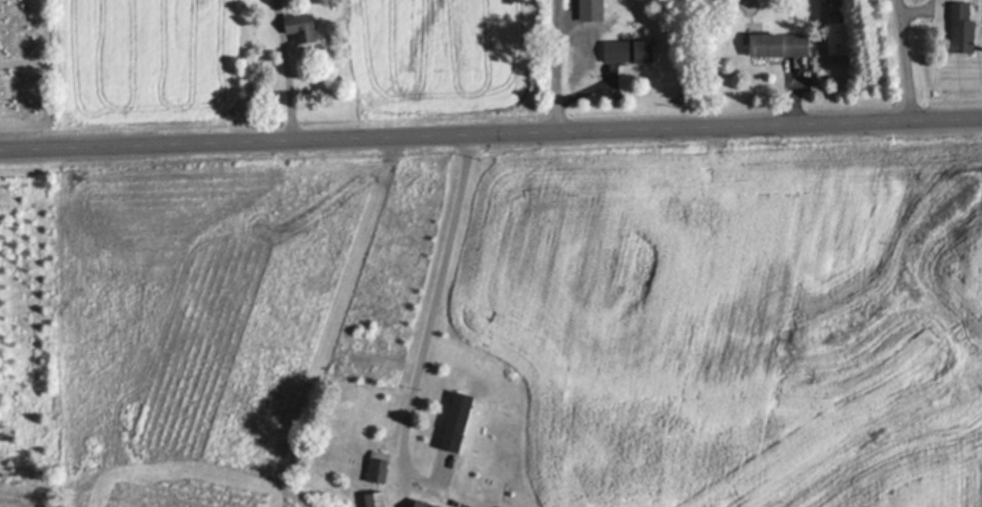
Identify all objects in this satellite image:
building: (597, 11)
building: (303, 26)
building: (967, 30)
building: (844, 41)
building: (782, 43)
building: (631, 51)
road: (907, 60)
road: (560, 66)
road: (289, 70)
road: (491, 135)
road: (441, 291)
building: (458, 419)
building: (380, 468)
building: (379, 499)
building: (430, 503)

